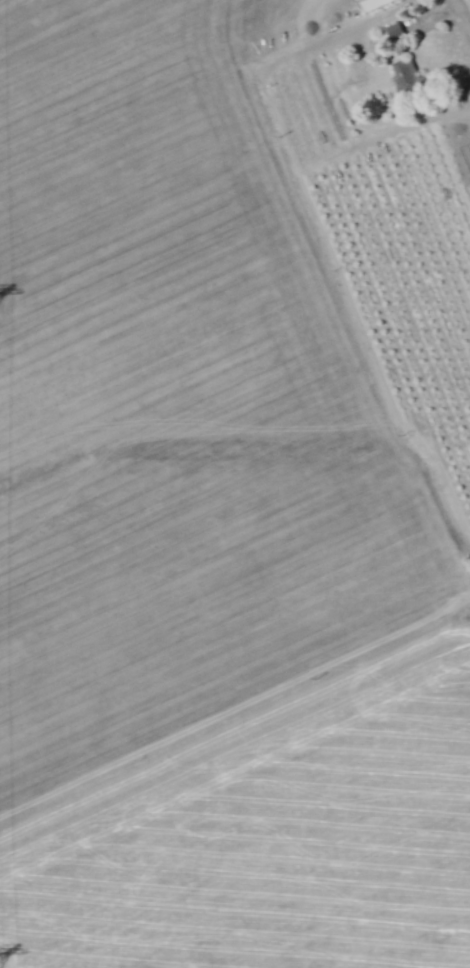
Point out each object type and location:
road: (460, 14)
road: (417, 19)

